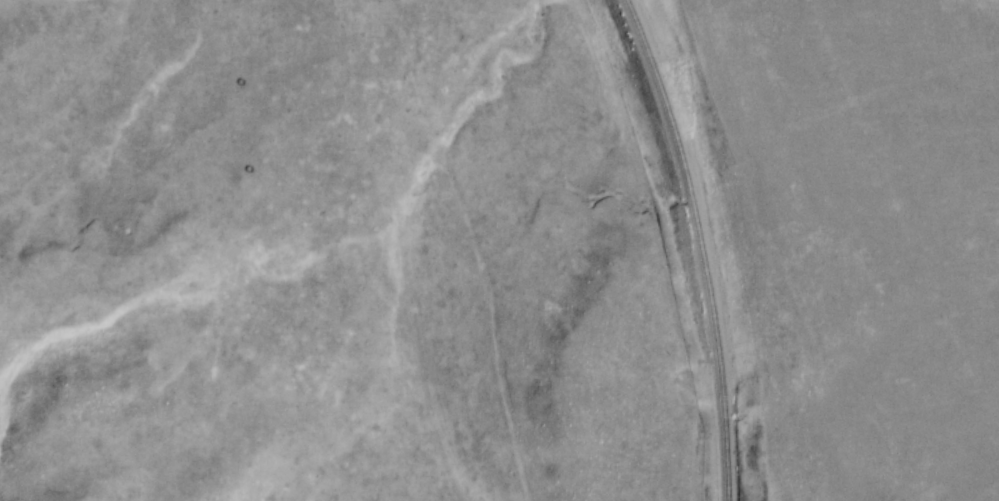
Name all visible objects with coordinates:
railway: (698, 245)

